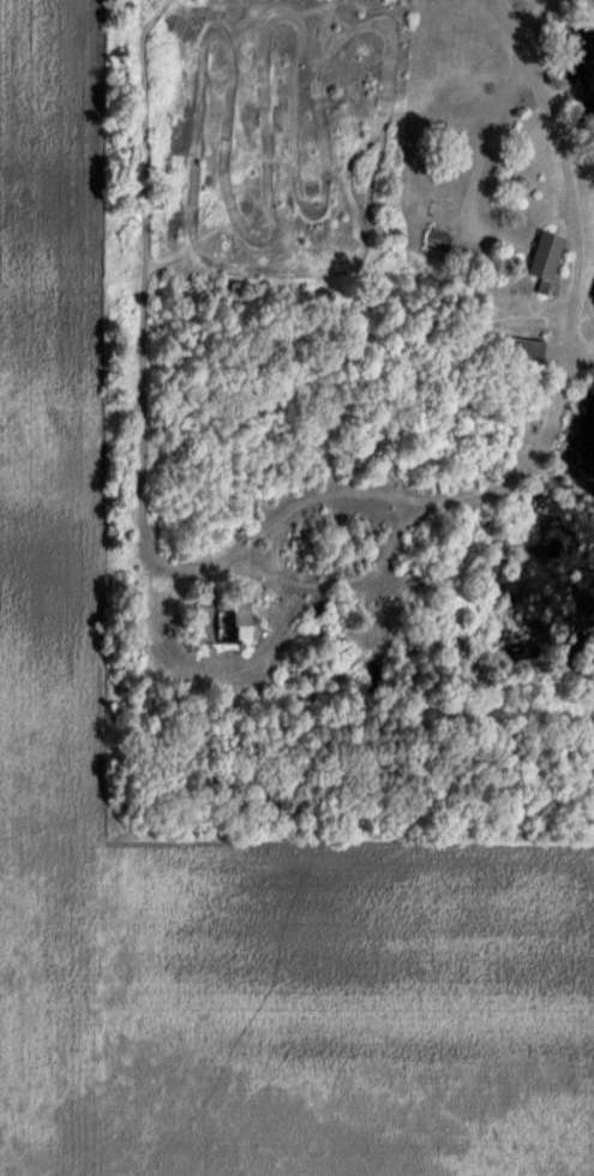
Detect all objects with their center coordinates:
road: (552, 162)
building: (541, 256)
building: (518, 352)
building: (218, 616)

